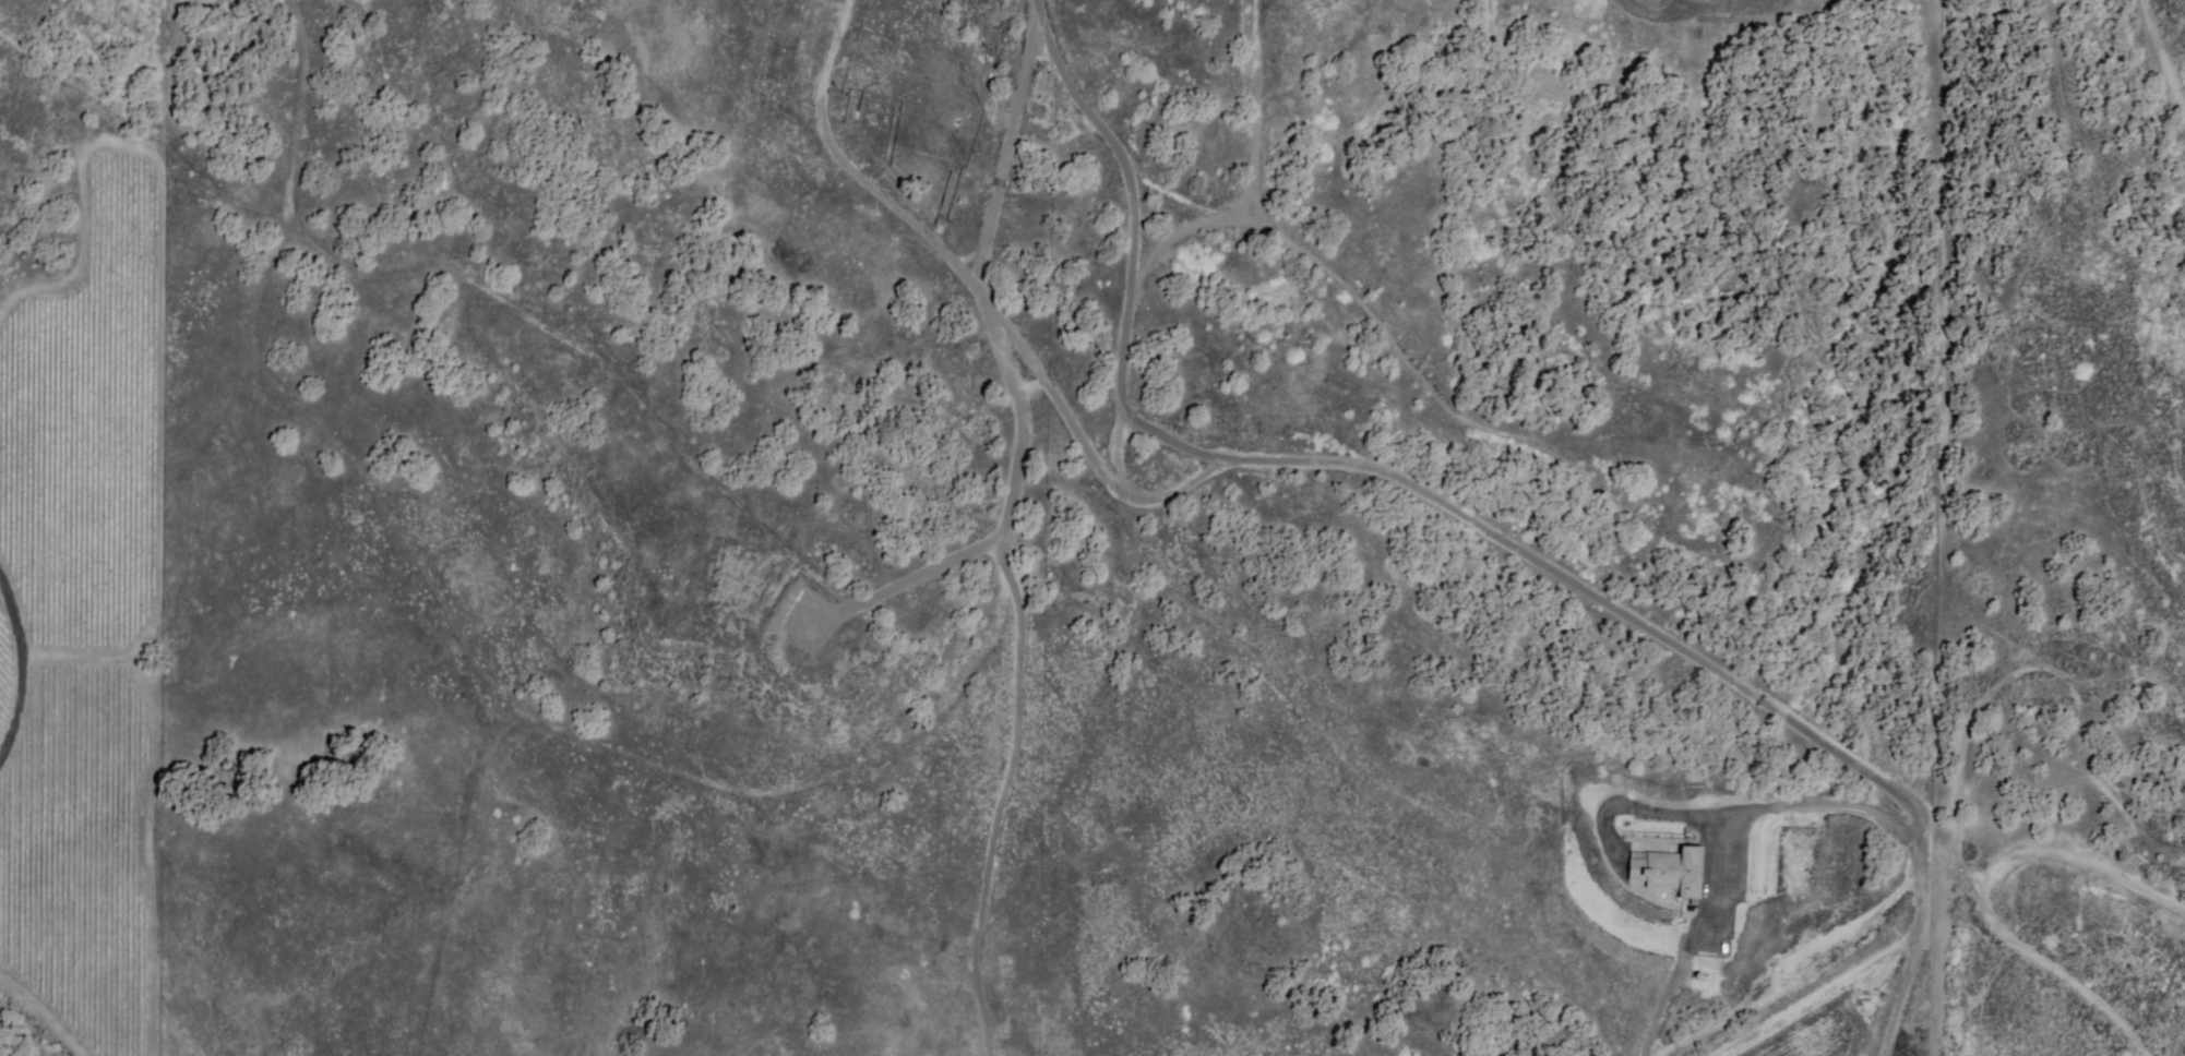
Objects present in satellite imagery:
road: (1803, 7)
road: (1706, 14)
road: (2159, 55)
road: (744, 106)
road: (1273, 223)
road: (1136, 276)
road: (1992, 334)
road: (1061, 391)
road: (2165, 435)
road: (1073, 443)
road: (1013, 491)
road: (1769, 505)
road: (1672, 641)
road: (1958, 776)
road: (1649, 783)
building: (1667, 869)
road: (2054, 964)
road: (1662, 1004)

